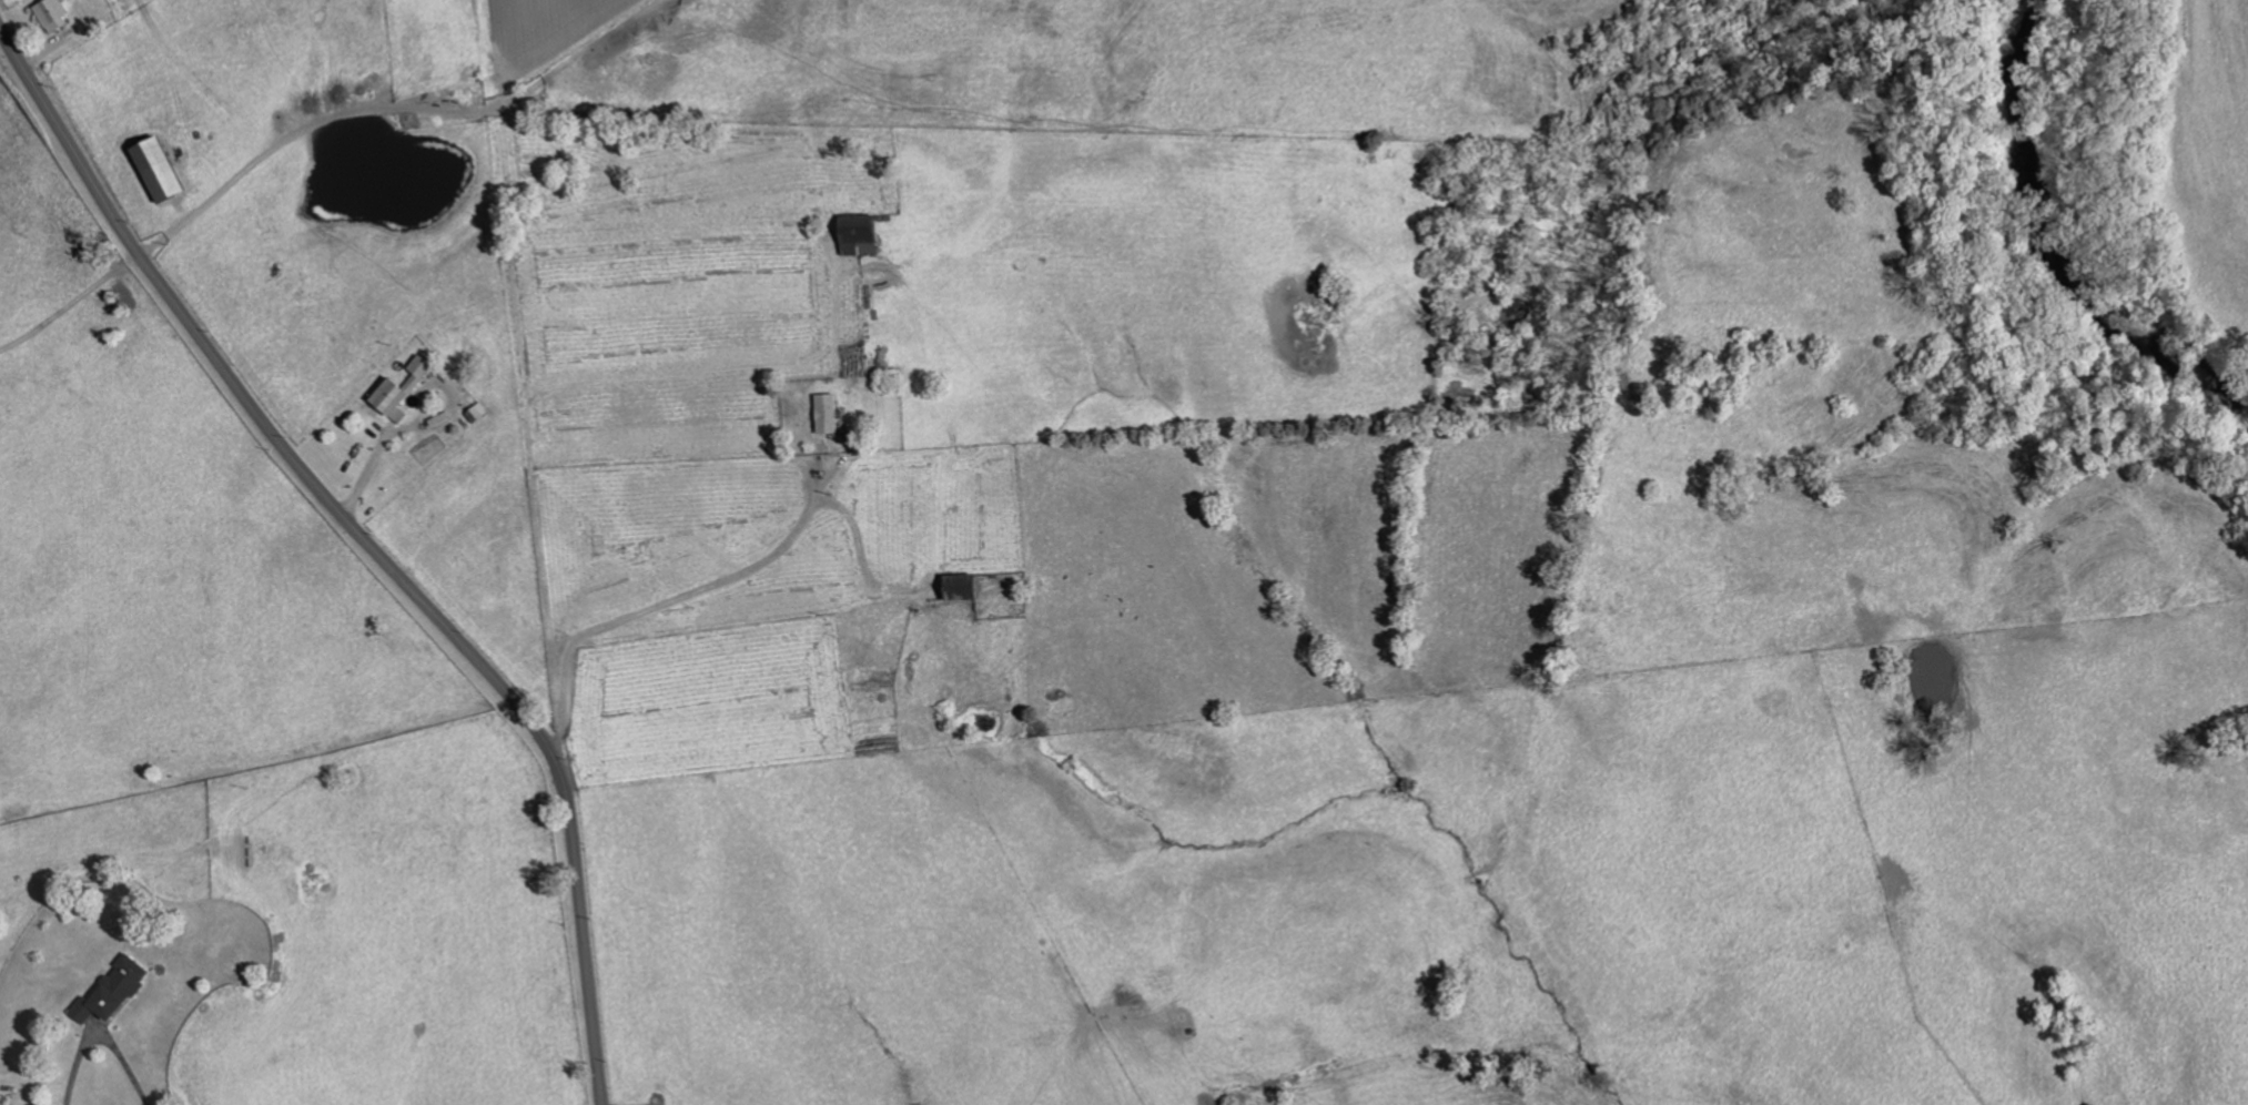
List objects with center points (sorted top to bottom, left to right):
building: (51, 16)
building: (153, 170)
building: (857, 236)
building: (397, 393)
building: (824, 415)
road: (392, 434)
road: (368, 541)
road: (721, 582)
building: (956, 587)
building: (119, 992)
road: (100, 1032)
building: (6, 1098)

